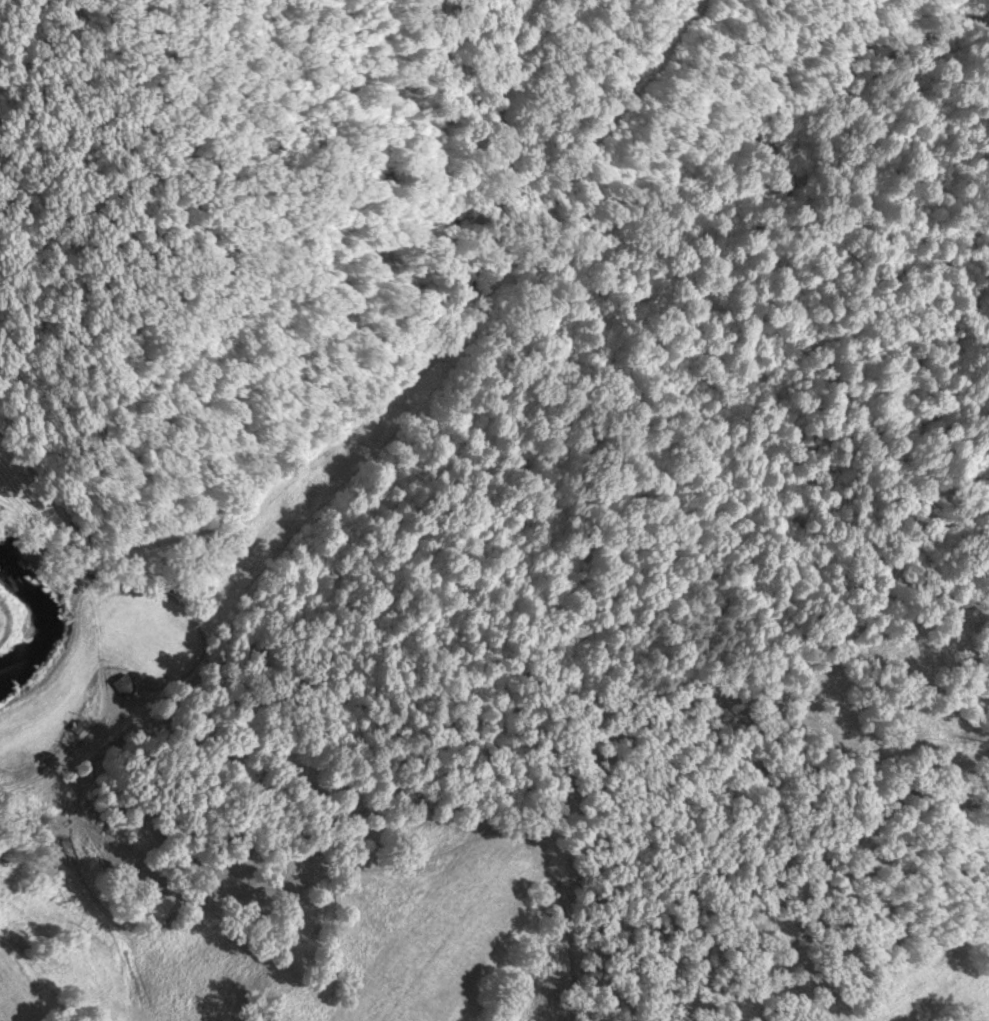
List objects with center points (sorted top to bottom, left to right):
river: (45, 613)
building: (121, 684)

